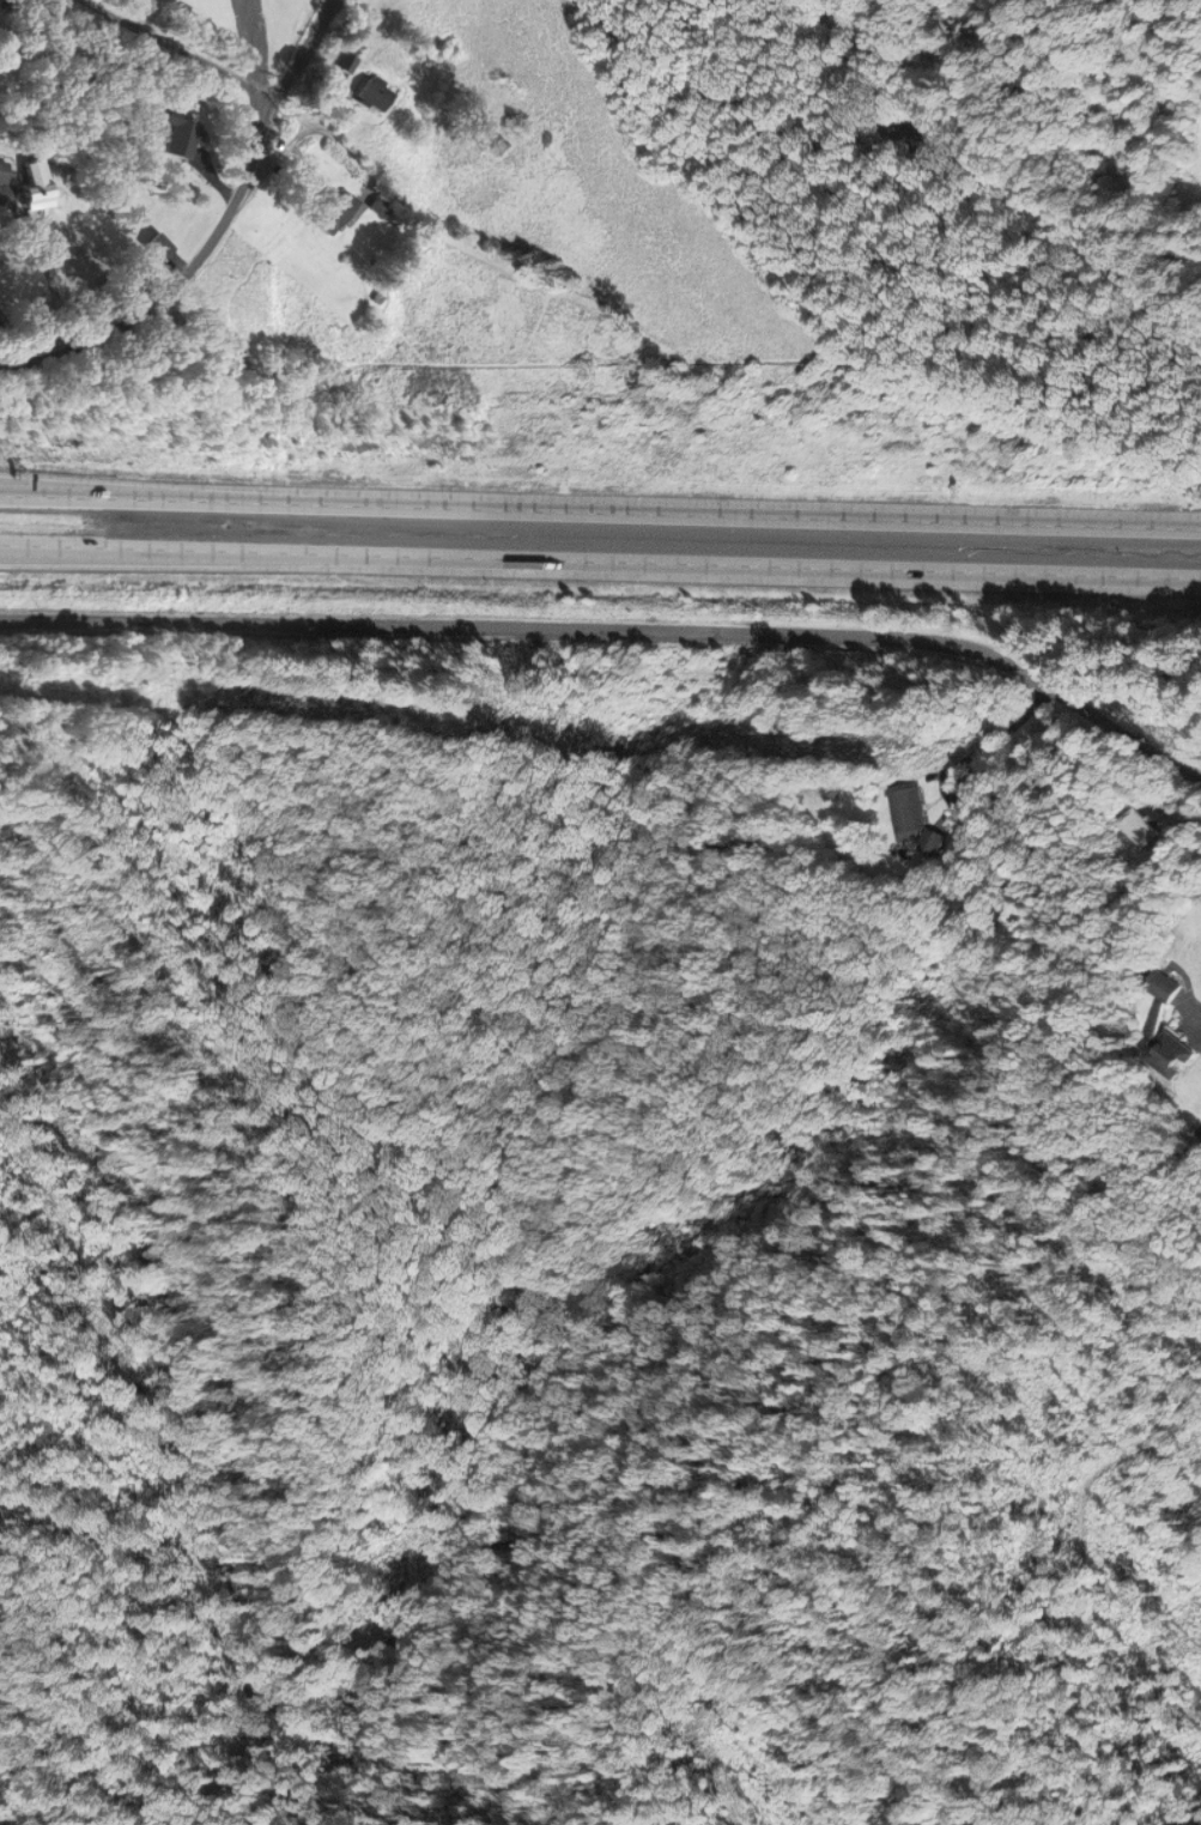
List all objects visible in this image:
road: (4, 1)
road: (172, 47)
road: (259, 55)
road: (297, 55)
building: (372, 92)
building: (177, 134)
building: (1, 170)
building: (35, 184)
building: (329, 207)
road: (41, 273)
road: (174, 283)
road: (35, 498)
road: (600, 515)
road: (600, 569)
road: (619, 625)
building: (916, 817)
building: (1144, 829)
building: (1169, 1053)

